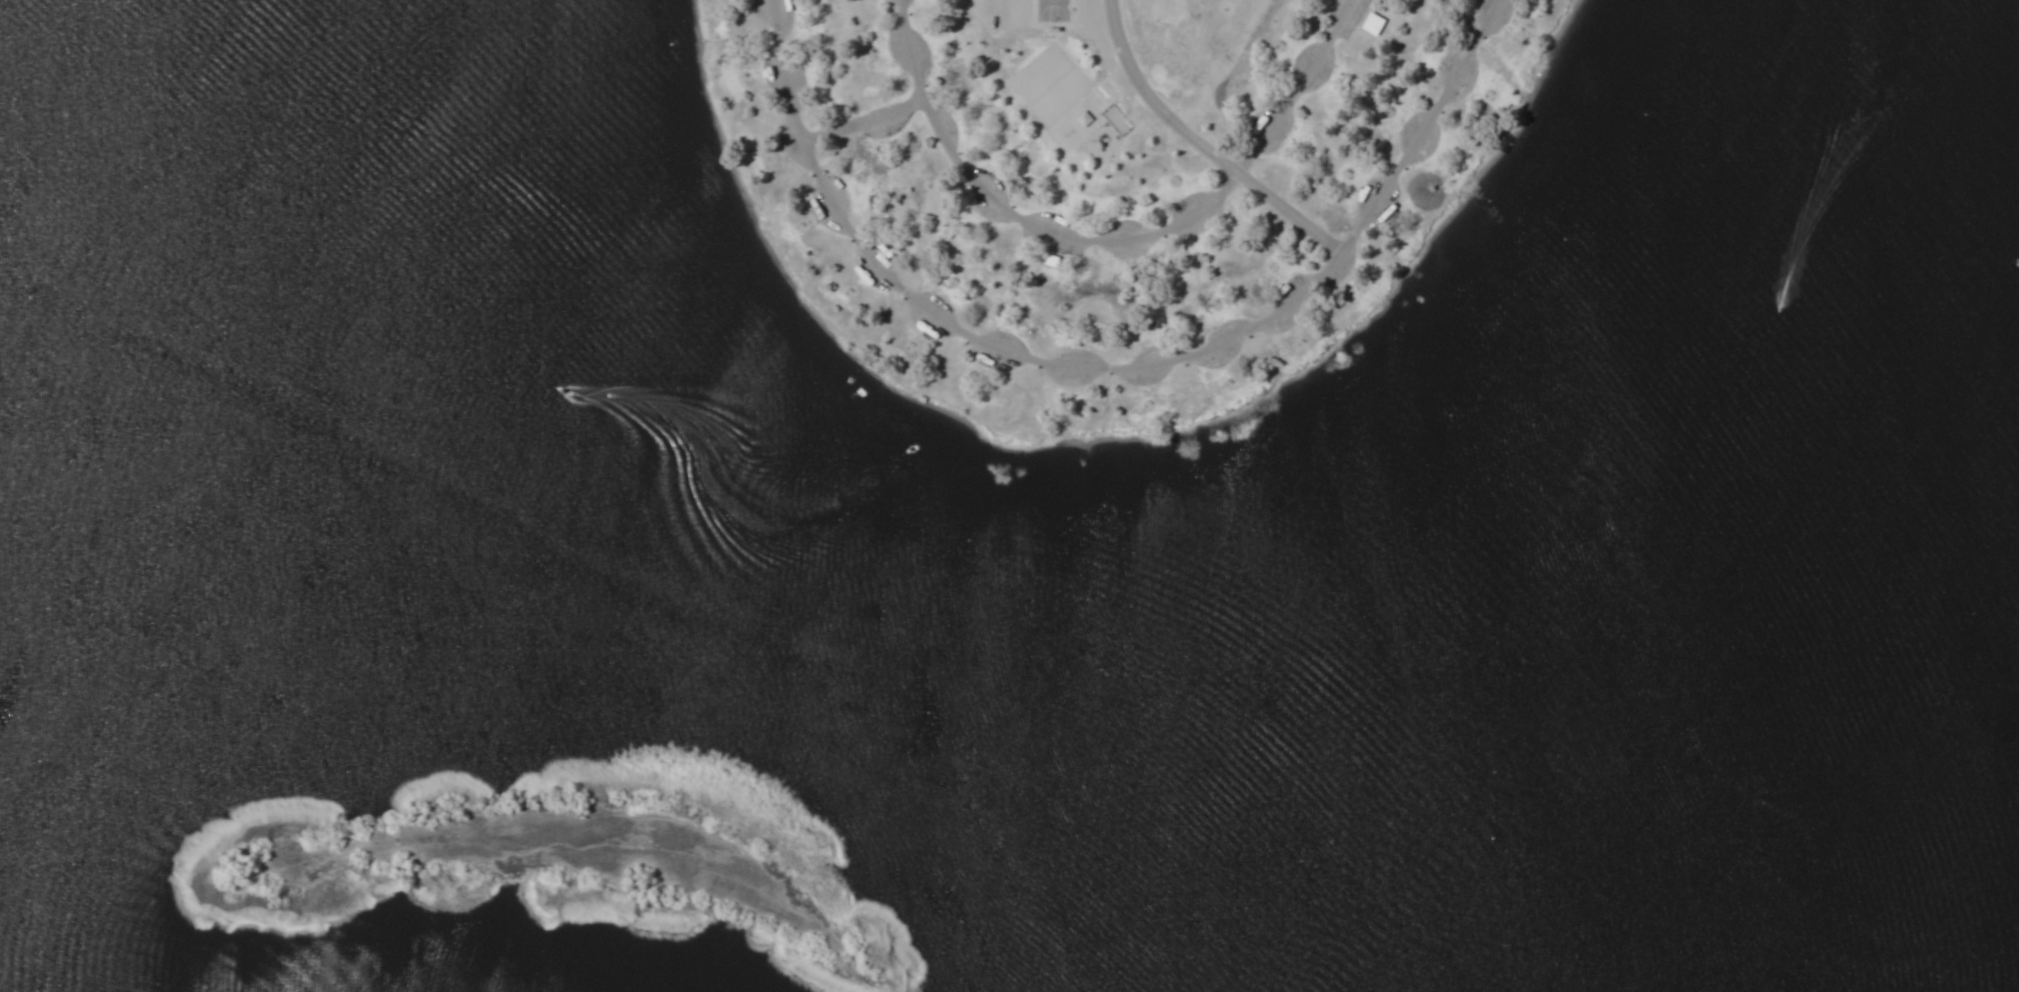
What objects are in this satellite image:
building: (1372, 25)
building: (1063, 86)
road: (860, 126)
road: (1199, 148)
road: (1111, 242)
building: (1047, 260)
road: (1111, 379)

